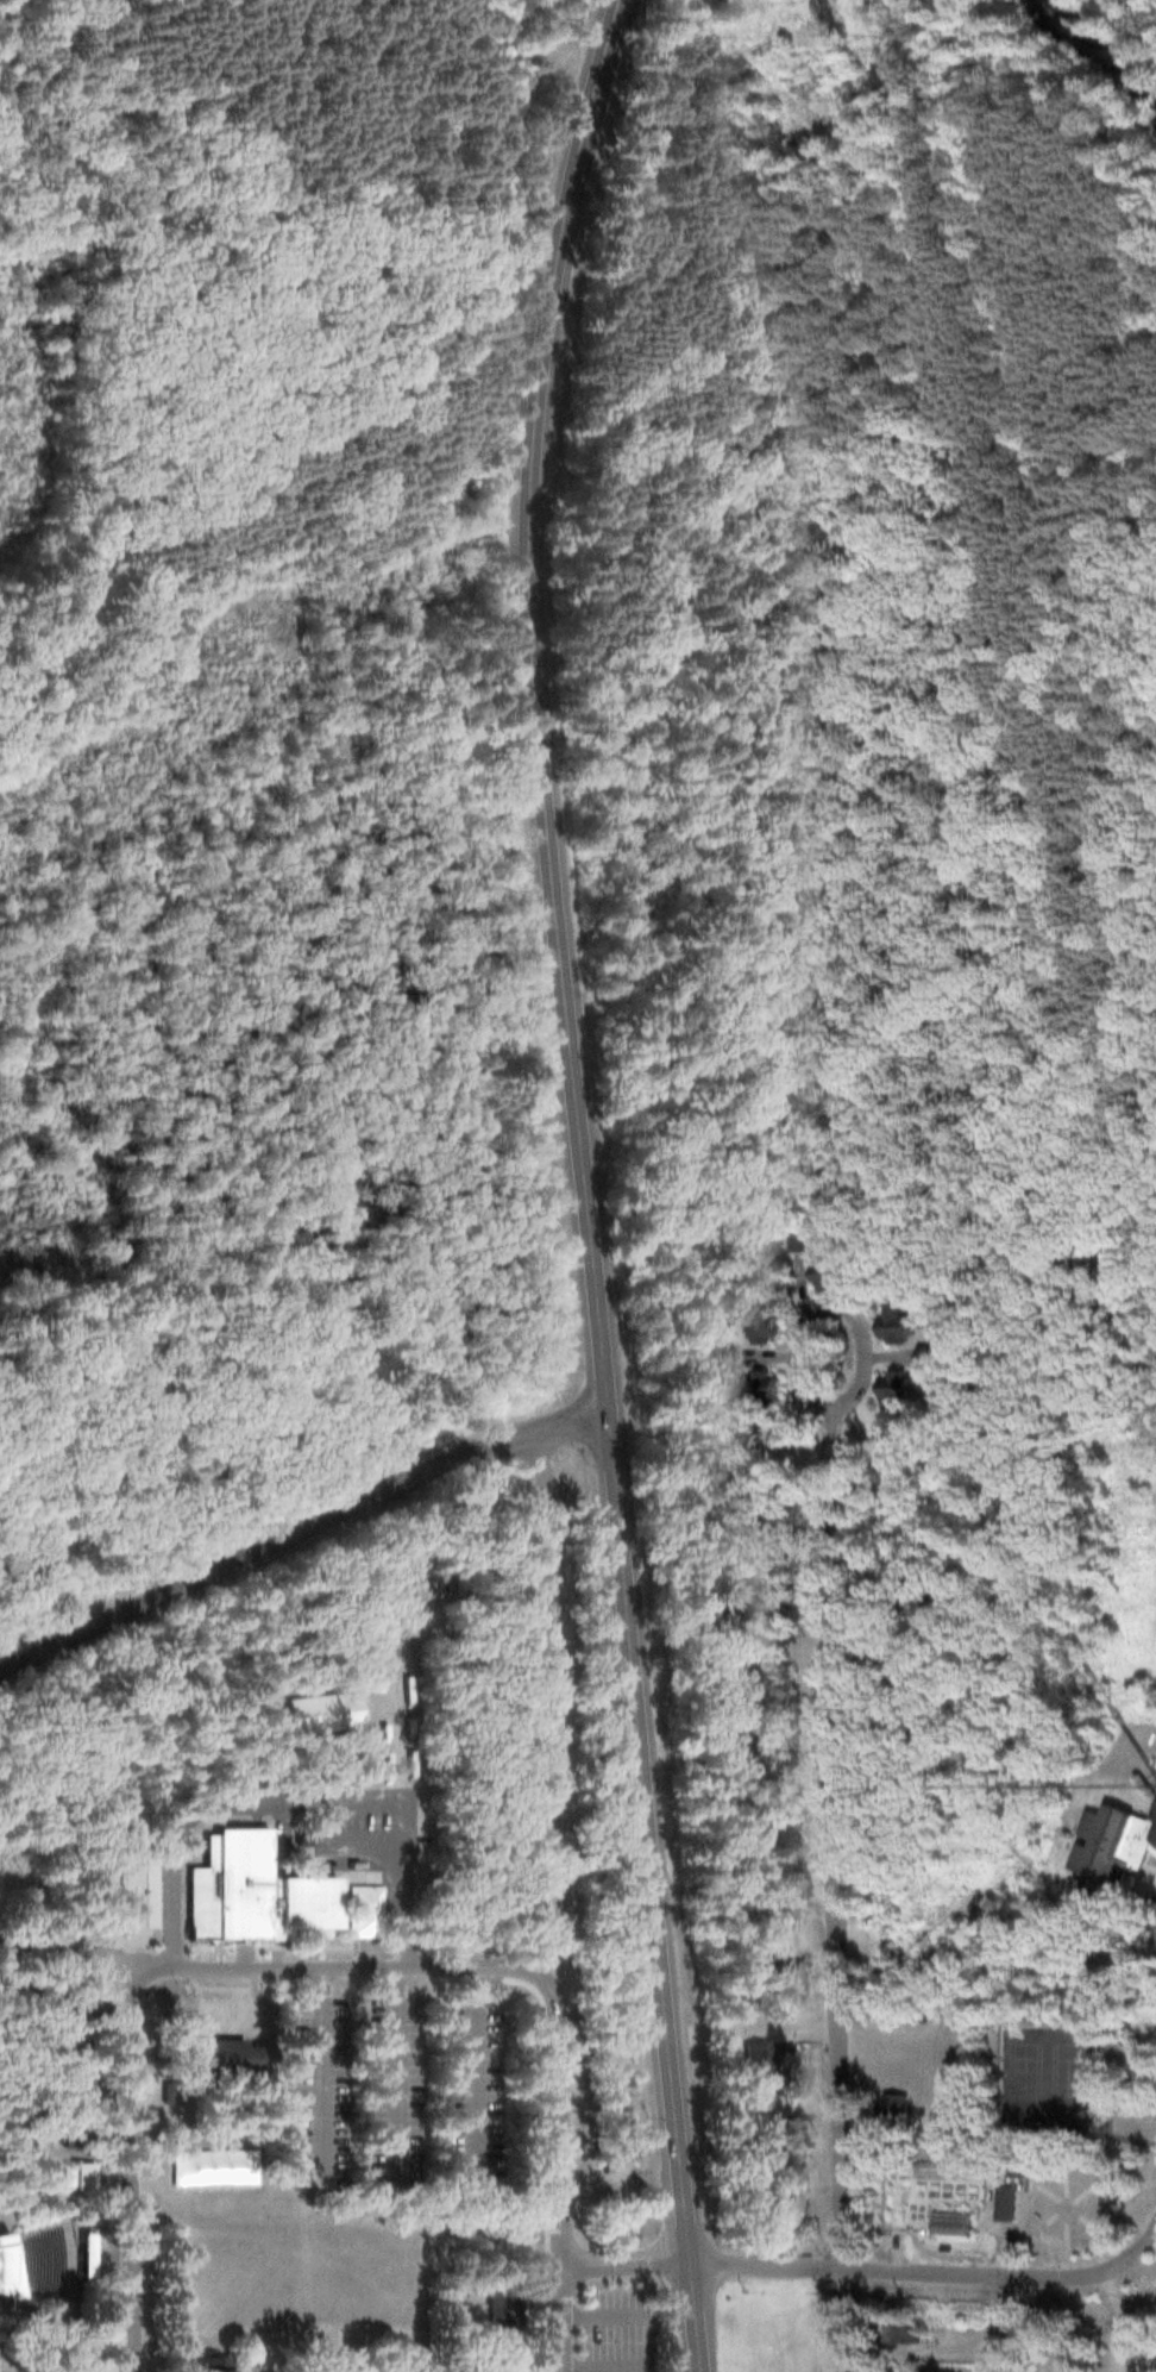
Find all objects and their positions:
road: (887, 193)
road: (742, 455)
road: (728, 894)
road: (585, 1183)
building: (827, 1273)
building: (758, 1325)
building: (891, 1325)
building: (725, 1357)
building: (758, 1389)
building: (892, 1390)
building: (729, 1482)
road: (300, 1532)
road: (56, 1564)
building: (907, 1578)
building: (724, 1595)
building: (912, 1672)
building: (729, 1673)
road: (828, 1706)
building: (314, 1713)
building: (736, 1759)
road: (294, 1798)
parking lot: (366, 1813)
building: (1107, 1845)
building: (747, 1854)
building: (137, 1886)
building: (250, 1888)
road: (42, 1946)
building: (768, 1960)
road: (314, 1964)
building: (798, 1988)
building: (69, 2002)
road: (477, 2058)
building: (218, 2059)
building: (762, 2065)
road: (389, 2067)
road: (313, 2070)
park: (1024, 2074)
park: (1066, 2076)
parking lot: (309, 2086)
building: (84, 2090)
parking lot: (394, 2091)
parking lot: (476, 2096)
building: (891, 2110)
road: (1106, 2127)
building: (76, 2138)
building: (765, 2141)
road: (542, 2146)
building: (937, 2163)
building: (214, 2164)
road: (130, 2167)
road: (555, 2168)
building: (71, 2177)
building: (951, 2222)
road: (620, 2242)
road: (1001, 2242)
road: (1130, 2251)
building: (82, 2255)
road: (620, 2259)
road: (865, 2272)
building: (5, 2273)
road: (1074, 2274)
building: (498, 2308)
road: (1116, 2318)
road: (1105, 2320)
road: (841, 2322)
parking lot: (614, 2329)
road: (616, 2334)
building: (898, 2335)
building: (206, 2364)
building: (503, 2371)

